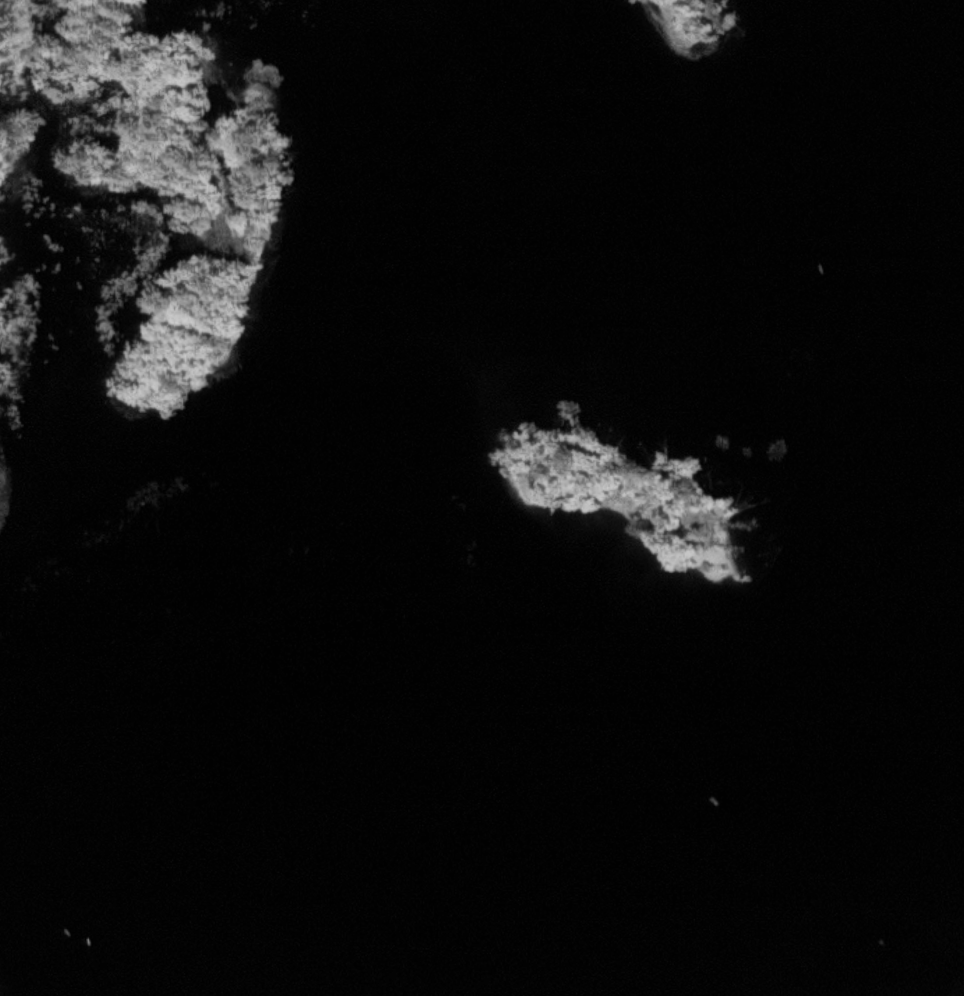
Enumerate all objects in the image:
park: (700, 14)
park: (177, 164)
park: (1, 442)
river: (528, 874)

